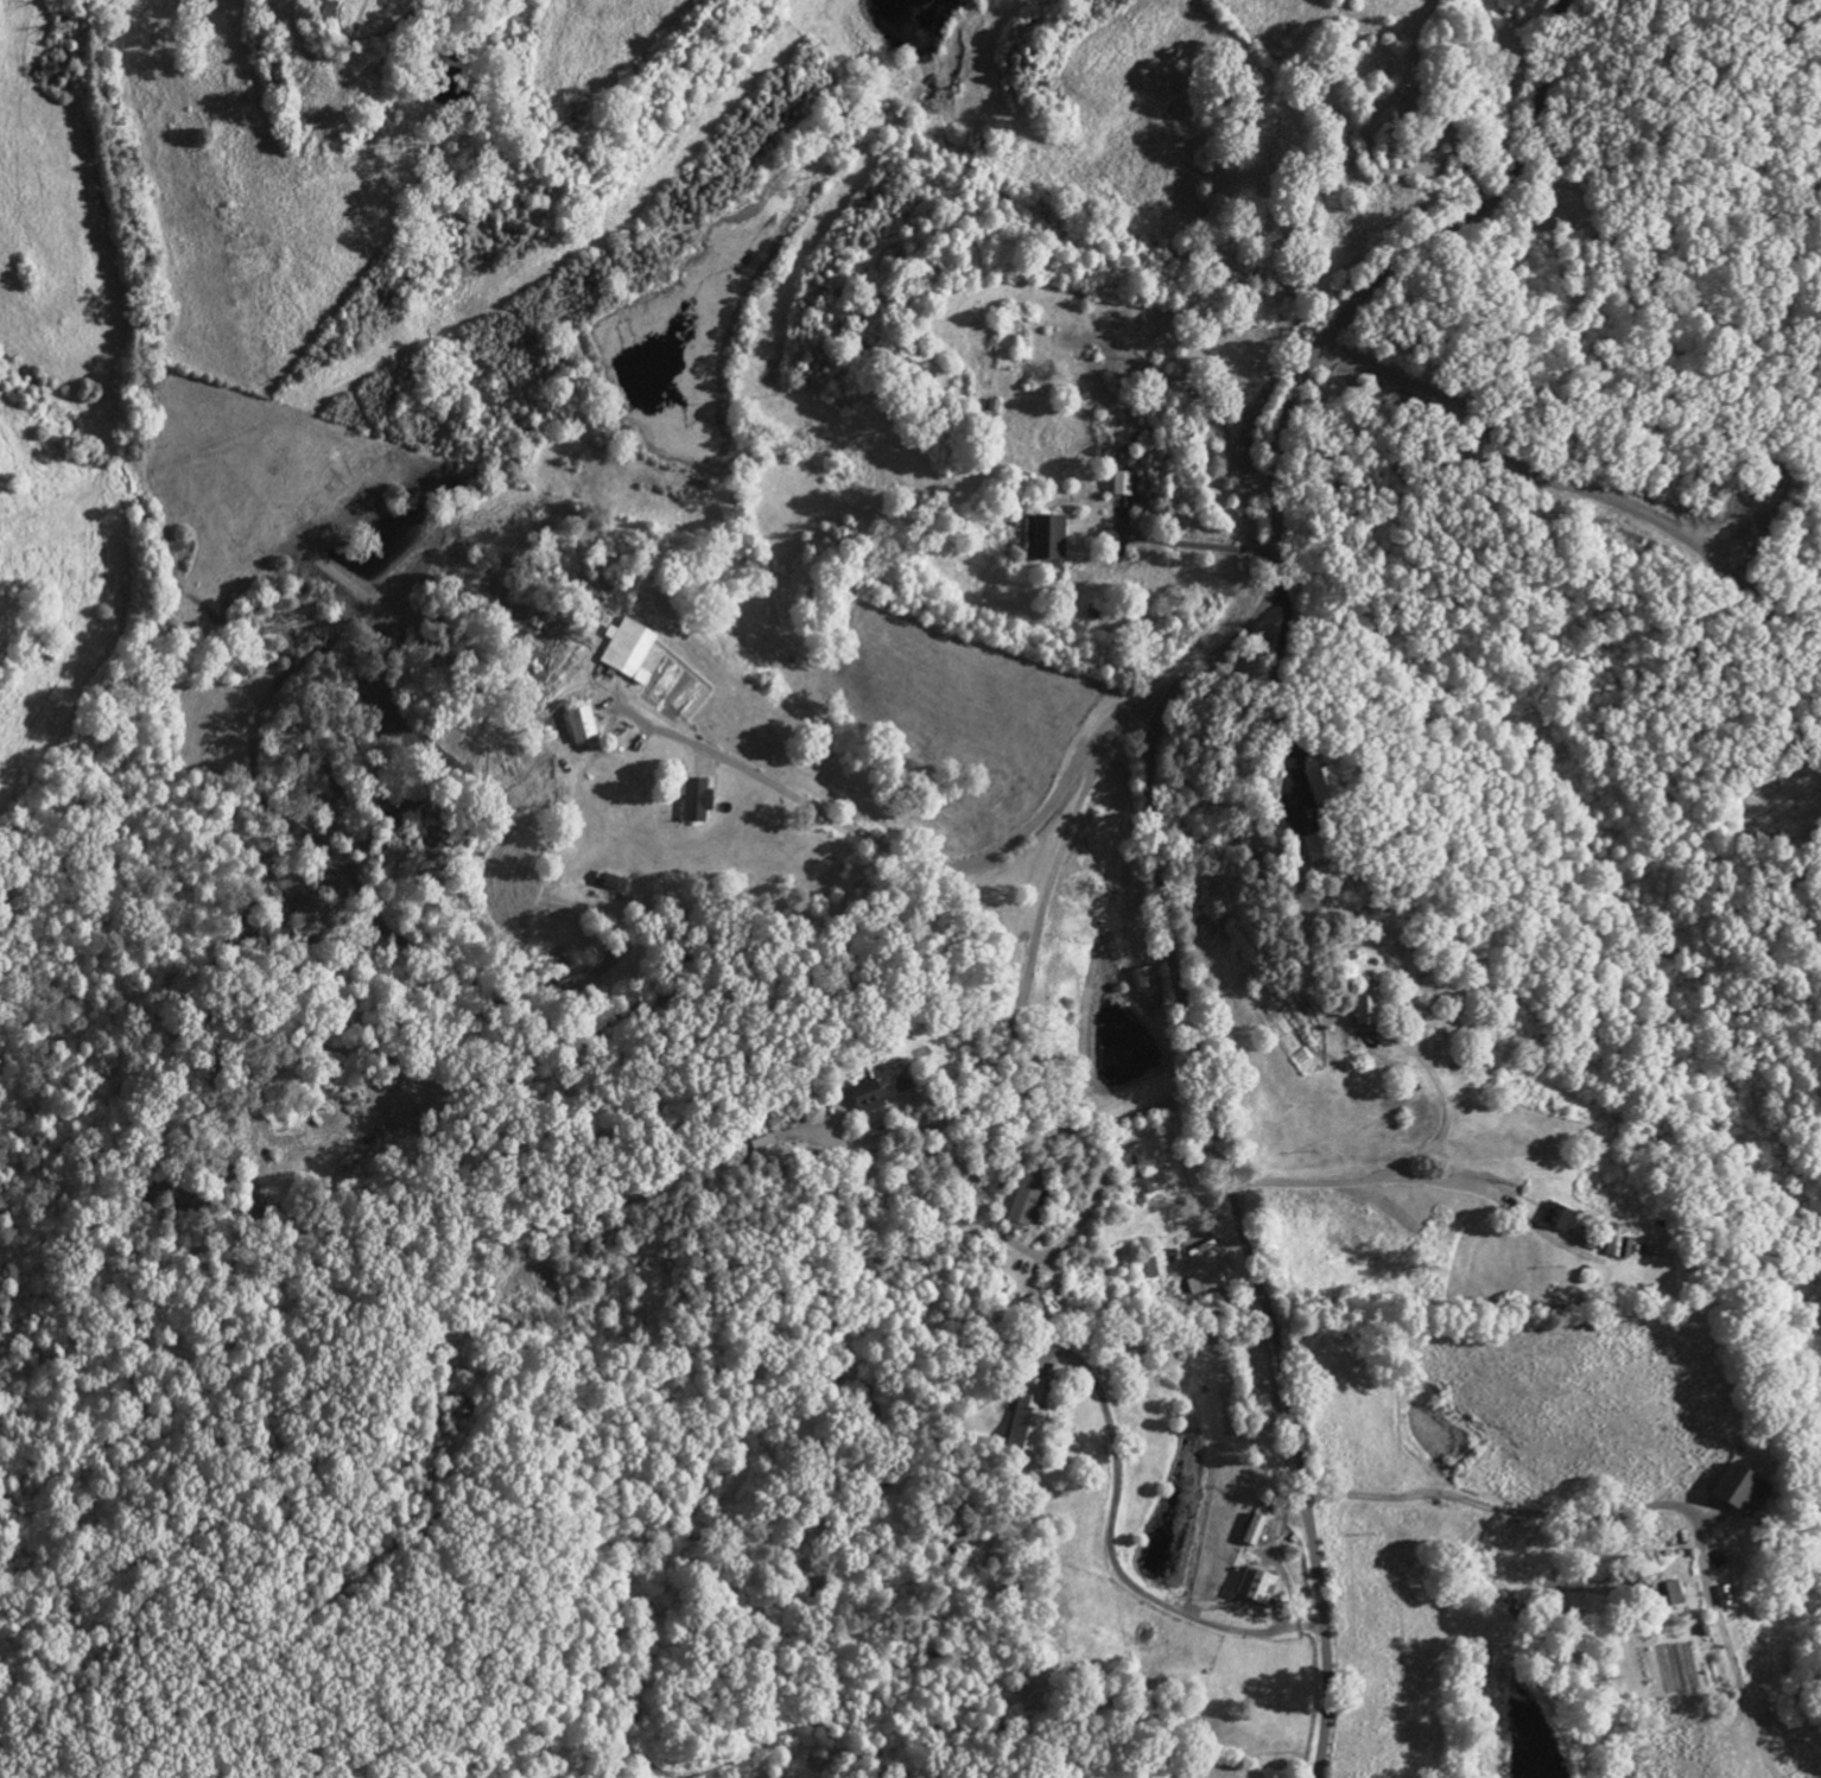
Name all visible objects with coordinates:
building: (1124, 487)
road: (1568, 488)
road: (1201, 532)
building: (1047, 541)
building: (627, 656)
road: (1269, 681)
building: (1308, 781)
building: (694, 802)
road: (1154, 823)
road: (945, 869)
road: (1020, 954)
building: (1141, 980)
building: (1360, 1011)
building: (857, 1101)
road: (1442, 1106)
building: (751, 1145)
road: (1359, 1179)
building: (1147, 1189)
building: (1026, 1202)
building: (1556, 1221)
building: (1614, 1246)
road: (1039, 1255)
building: (1157, 1268)
building: (1203, 1277)
building: (1023, 1421)
building: (1737, 1494)
road: (1474, 1516)
building: (1249, 1533)
road: (1106, 1555)
building: (1250, 1590)
building: (1667, 1596)

